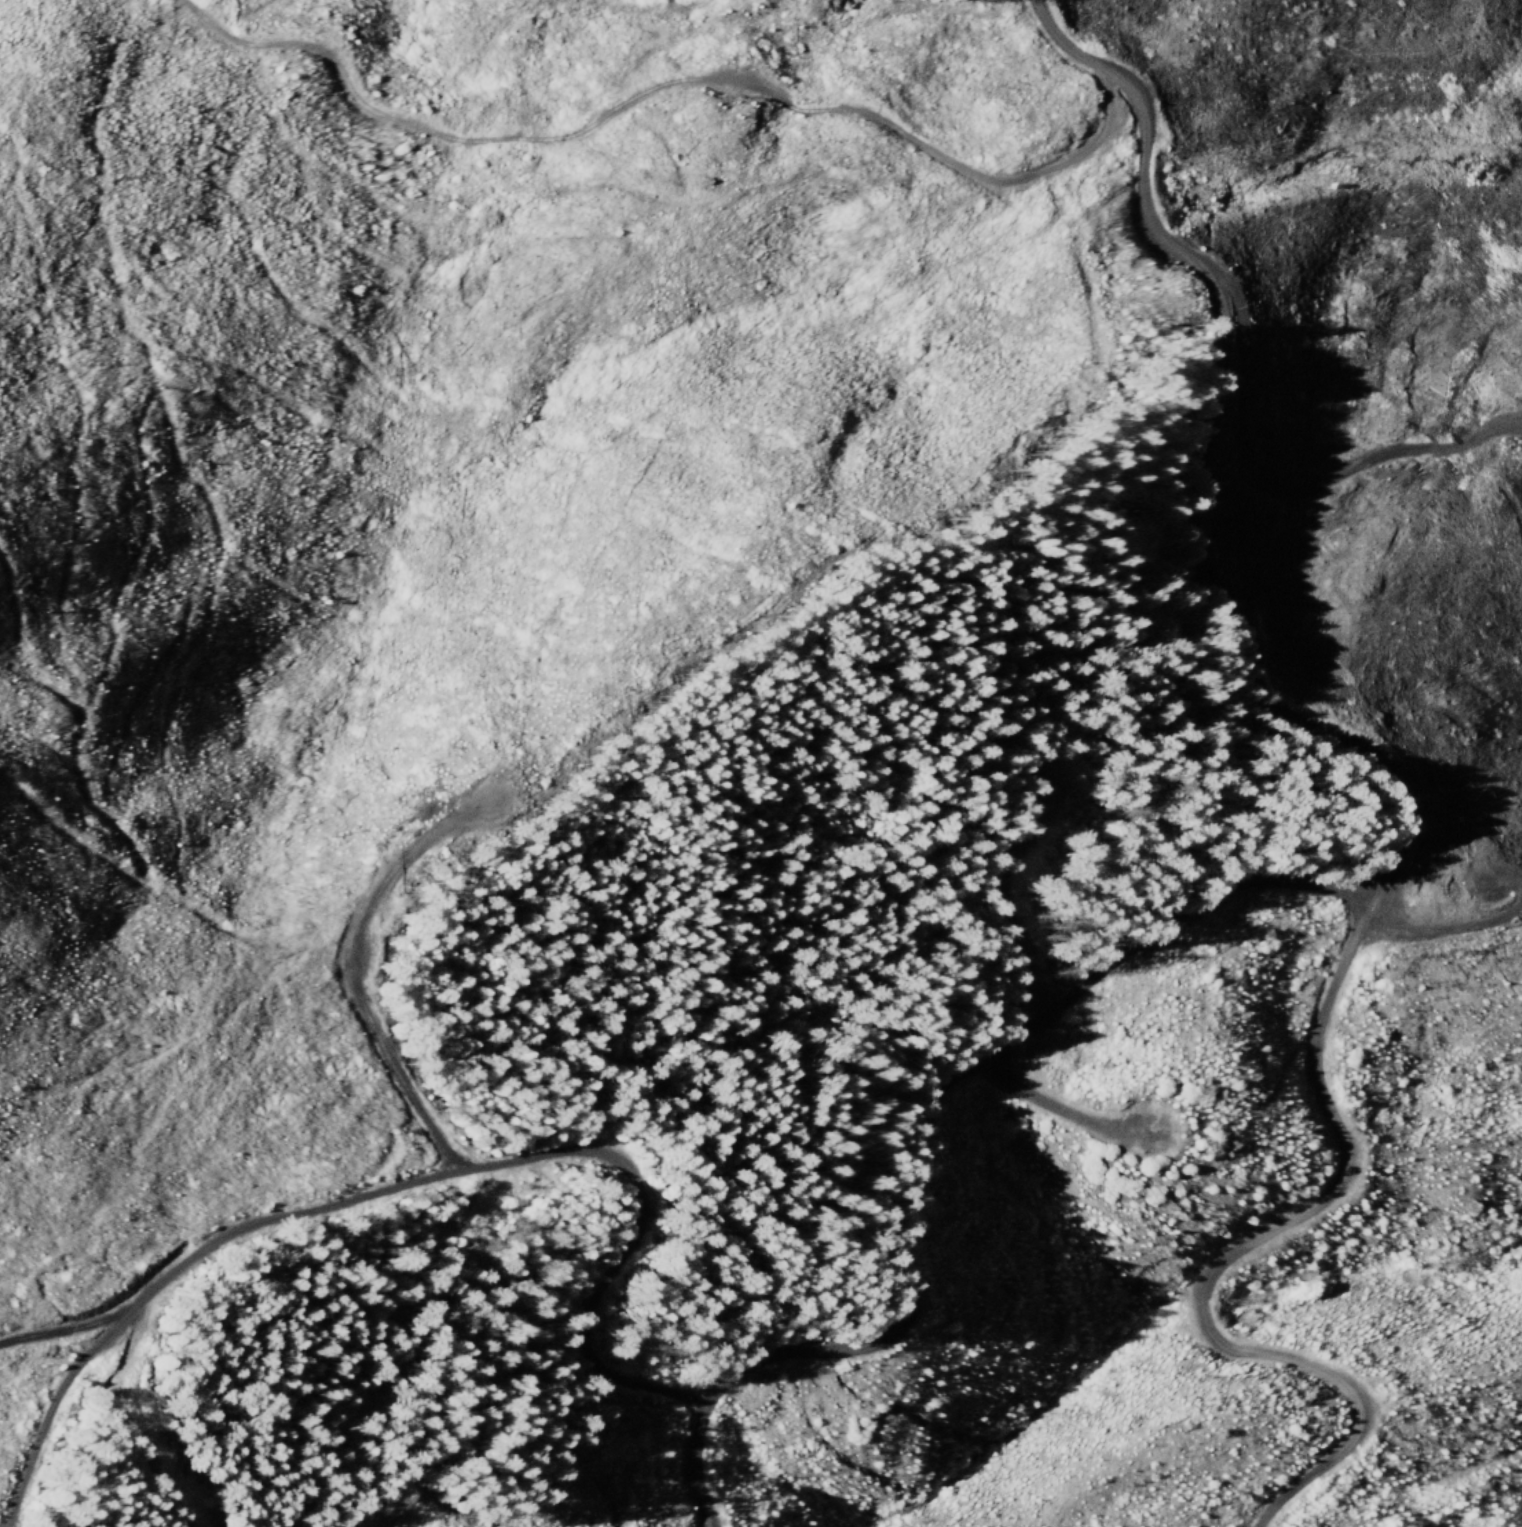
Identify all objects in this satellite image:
road: (670, 86)
road: (1304, 491)
road: (1359, 878)
road: (414, 1182)
road: (1239, 1246)

